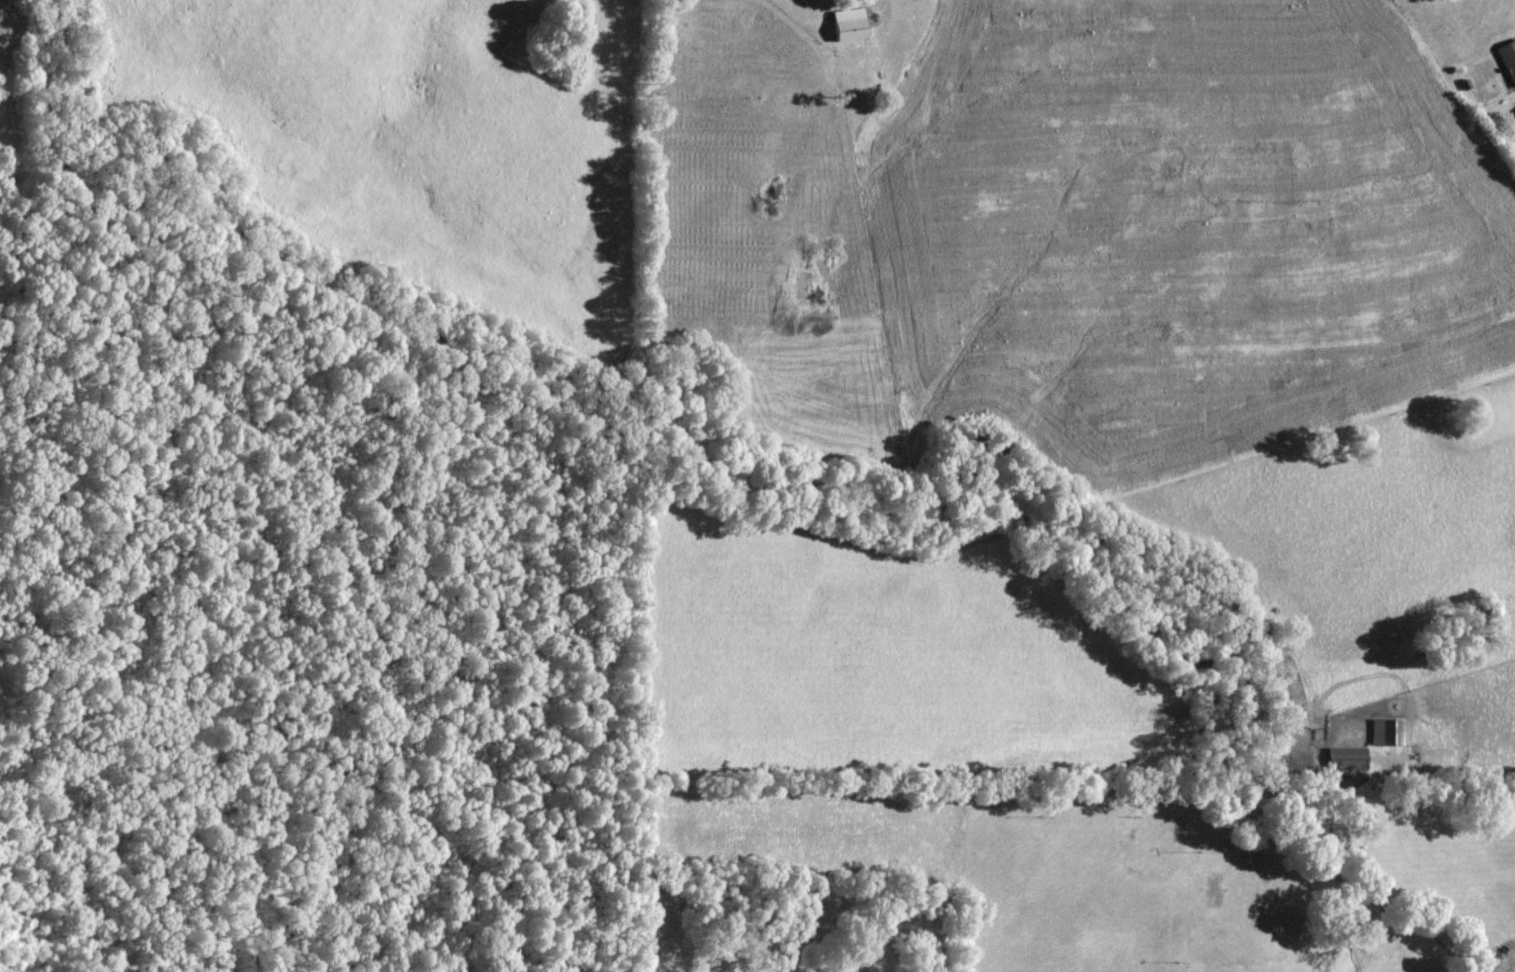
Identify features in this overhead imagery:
building: (850, 29)
building: (1508, 59)
building: (1346, 759)

